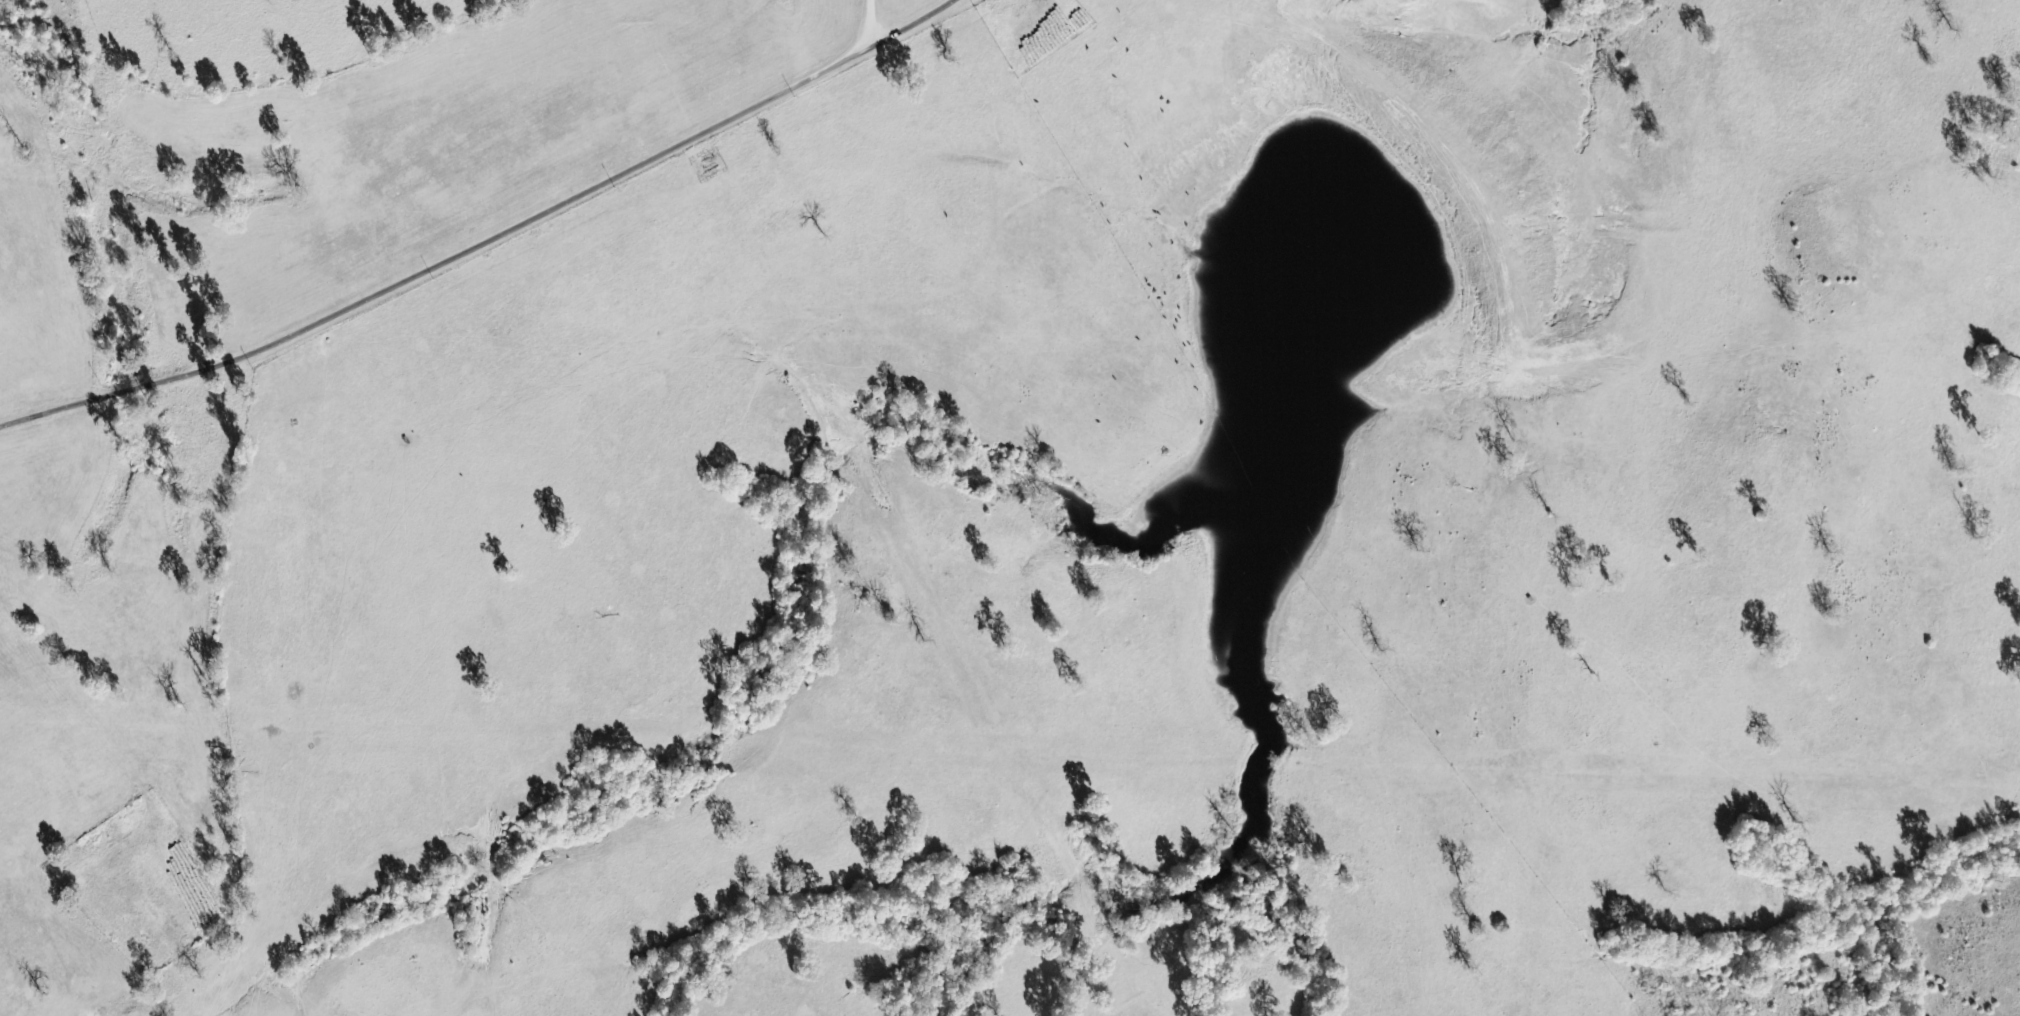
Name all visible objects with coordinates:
road: (456, 313)

